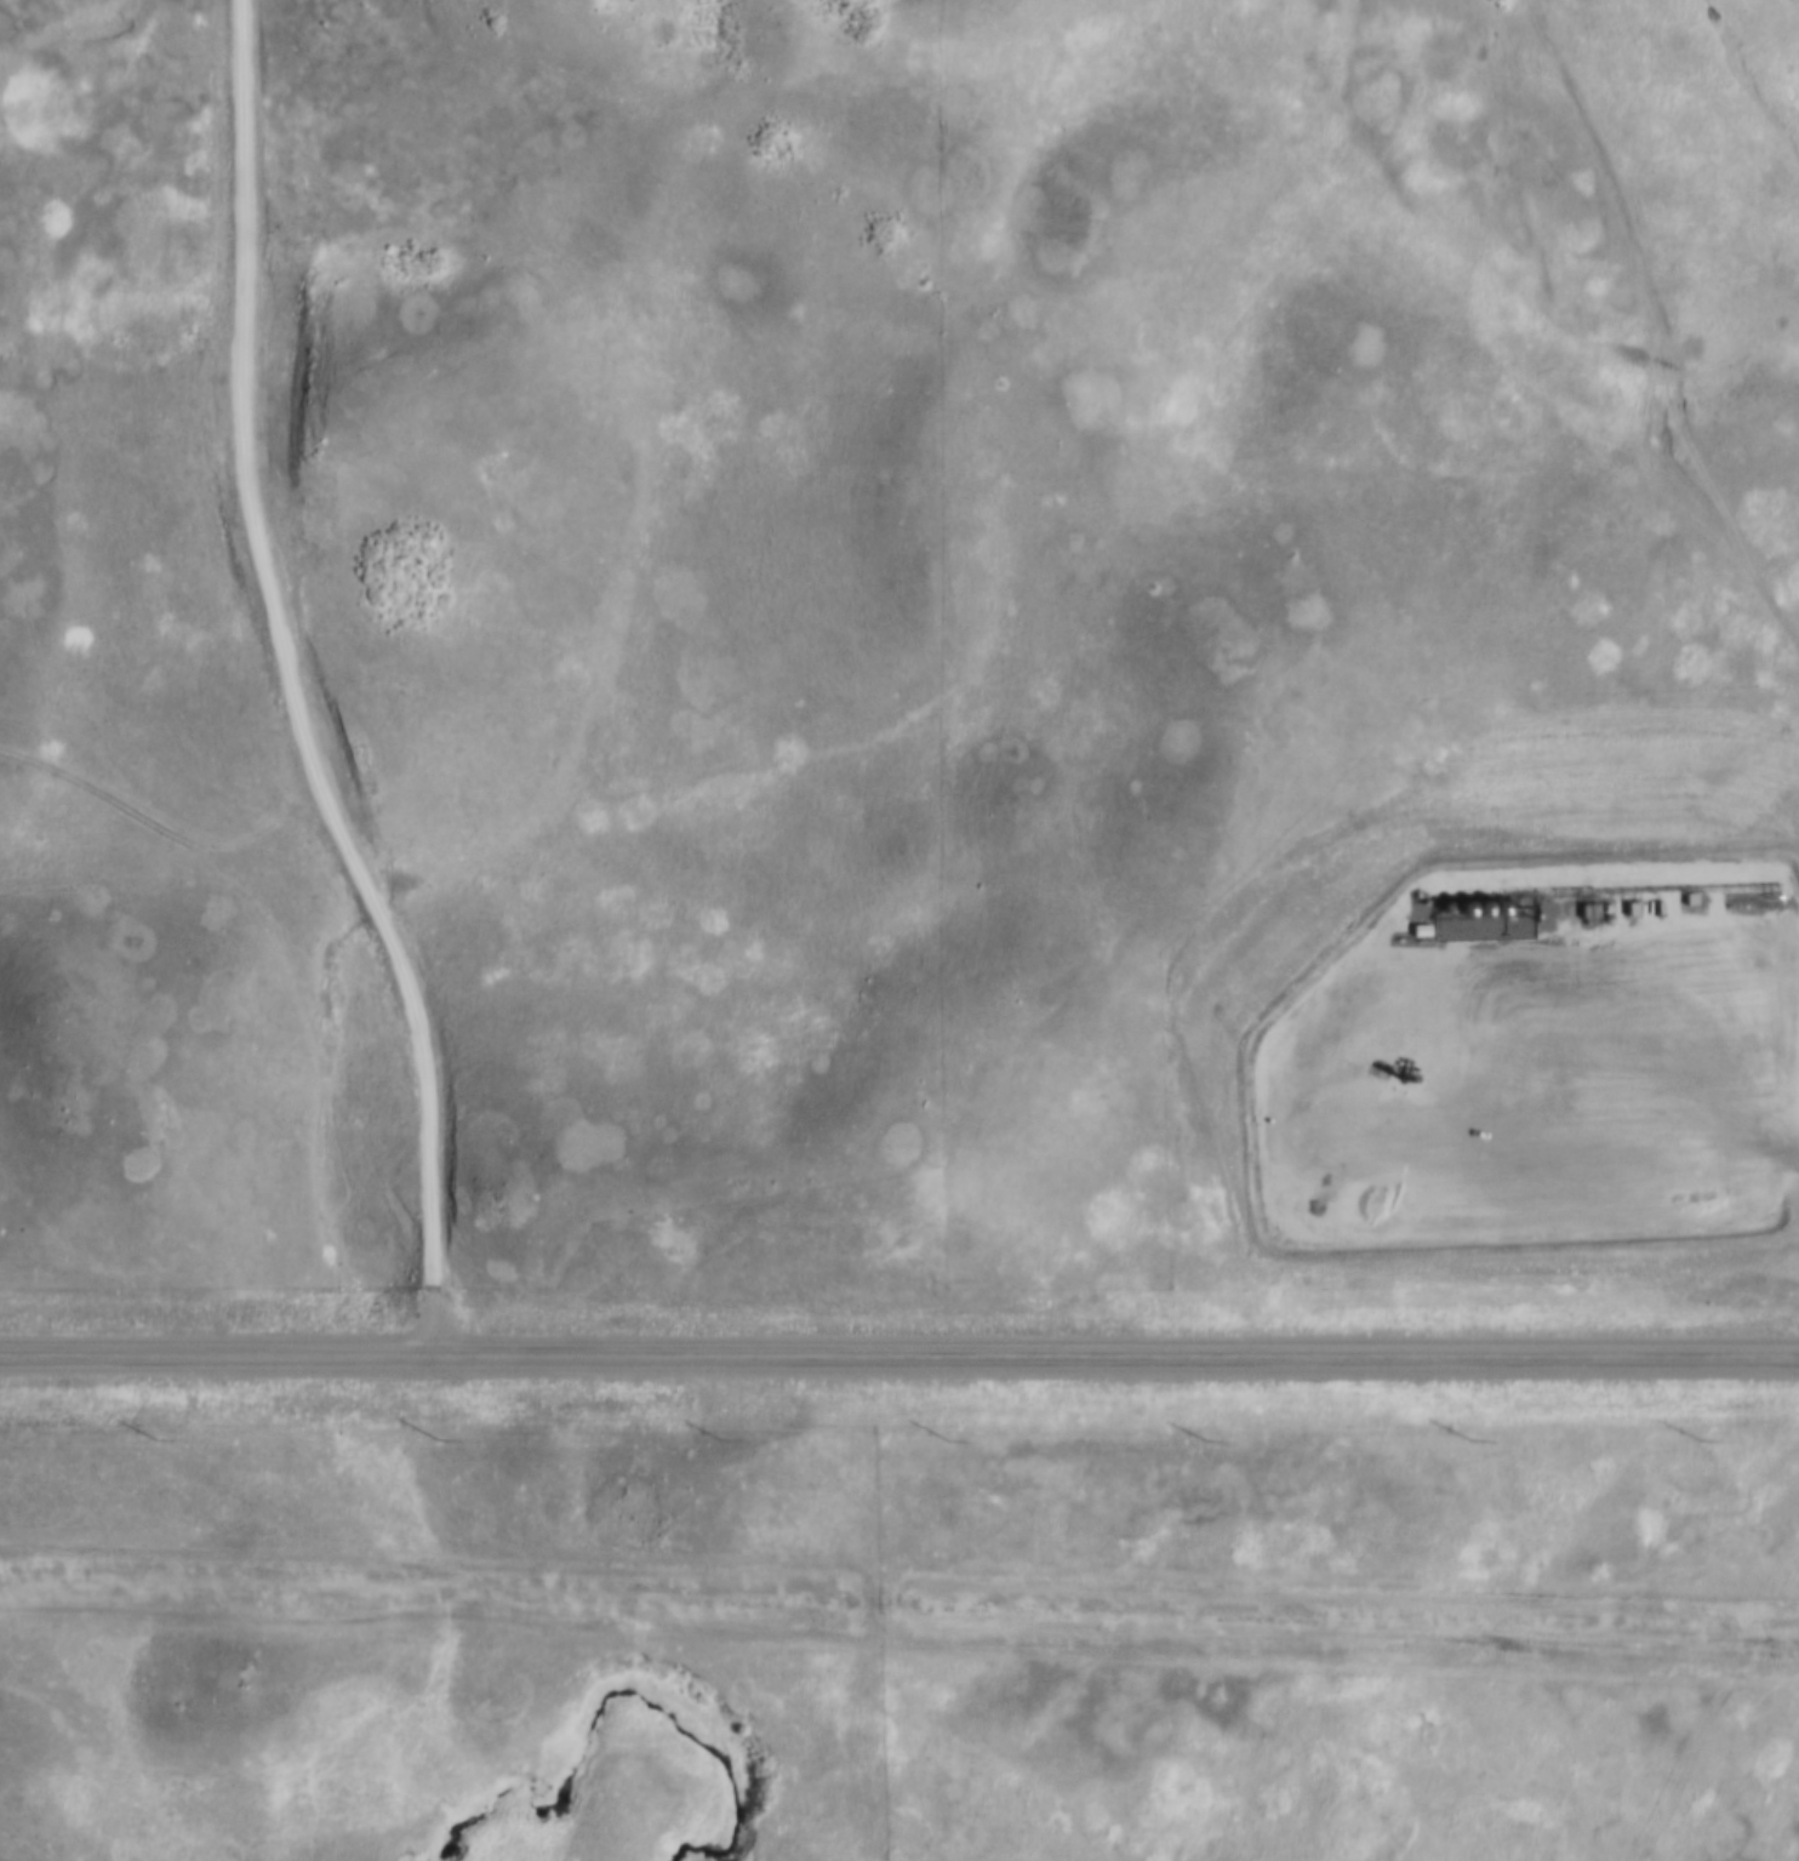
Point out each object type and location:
road: (1656, 335)
road: (299, 689)
road: (898, 1358)
road: (1704, 1709)

